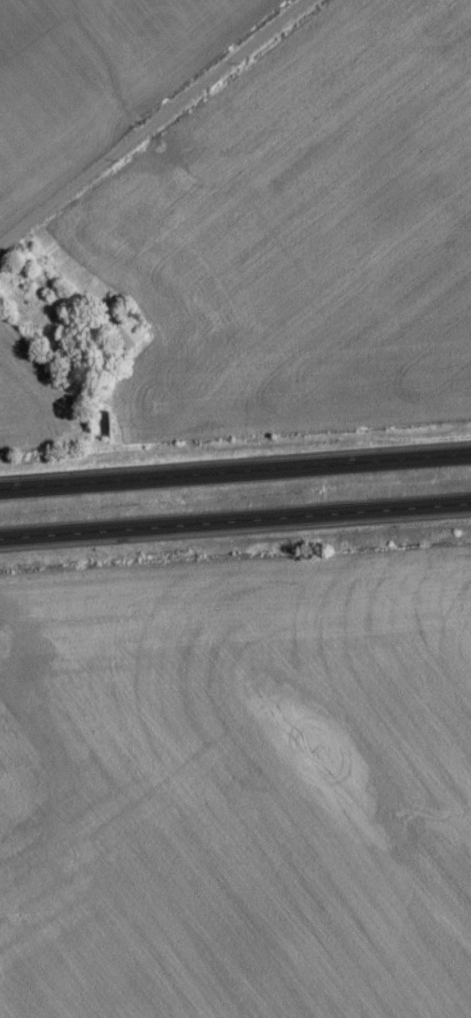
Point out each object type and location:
road: (154, 124)
building: (129, 339)
building: (70, 365)
road: (235, 472)
road: (235, 525)

